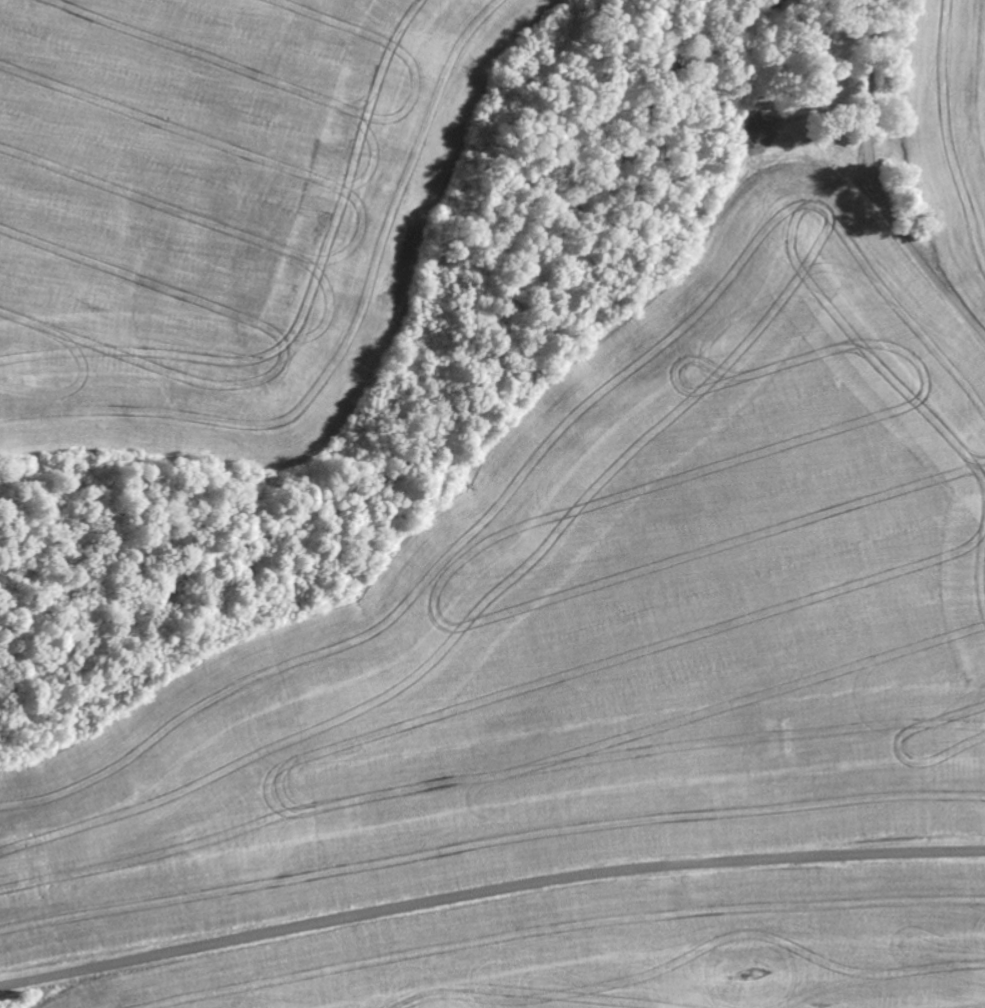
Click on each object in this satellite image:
road: (872, 205)
road: (489, 896)

